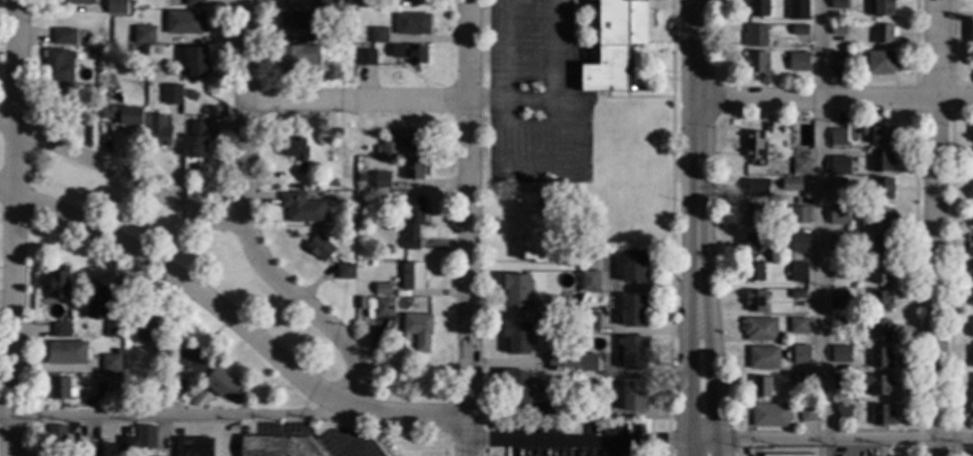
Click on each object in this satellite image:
building: (292, 0)
building: (333, 0)
building: (74, 2)
building: (194, 3)
building: (322, 4)
building: (364, 4)
building: (799, 4)
building: (333, 5)
building: (838, 5)
building: (116, 6)
building: (881, 8)
building: (757, 9)
building: (292, 21)
building: (185, 22)
building: (412, 24)
building: (799, 30)
building: (838, 30)
building: (884, 34)
building: (317, 35)
building: (144, 36)
building: (379, 36)
building: (755, 36)
building: (64, 37)
building: (971, 37)
building: (615, 45)
building: (119, 46)
building: (143, 50)
building: (410, 55)
building: (366, 57)
building: (296, 58)
building: (196, 61)
building: (798, 62)
building: (838, 62)
building: (756, 63)
building: (880, 64)
building: (58, 67)
building: (103, 78)
building: (172, 93)
building: (192, 96)
road: (834, 100)
road: (359, 101)
road: (489, 102)
building: (189, 106)
road: (248, 112)
building: (117, 114)
building: (787, 127)
building: (972, 133)
building: (878, 135)
building: (161, 136)
building: (837, 138)
building: (413, 139)
building: (196, 141)
building: (387, 145)
building: (755, 148)
building: (293, 149)
road: (697, 156)
building: (881, 162)
building: (971, 163)
road: (528, 166)
building: (800, 166)
building: (840, 166)
building: (412, 169)
road: (125, 178)
building: (361, 178)
building: (381, 180)
building: (326, 182)
building: (791, 185)
building: (838, 185)
building: (756, 188)
building: (883, 189)
building: (972, 193)
building: (796, 201)
building: (302, 208)
building: (800, 215)
building: (838, 215)
building: (754, 217)
road: (818, 218)
building: (877, 219)
building: (412, 222)
building: (972, 222)
building: (351, 223)
building: (534, 227)
road: (16, 228)
road: (471, 228)
road: (936, 228)
building: (838, 243)
building: (757, 244)
building: (799, 244)
building: (878, 246)
building: (319, 248)
building: (972, 249)
building: (389, 250)
building: (634, 265)
building: (839, 271)
building: (345, 272)
building: (754, 272)
building: (798, 272)
building: (971, 272)
building: (881, 274)
building: (412, 276)
building: (590, 281)
building: (58, 283)
building: (382, 289)
building: (517, 291)
building: (798, 294)
building: (972, 298)
building: (838, 299)
building: (754, 301)
building: (98, 302)
building: (372, 302)
building: (880, 302)
building: (384, 307)
building: (580, 308)
building: (565, 309)
building: (634, 310)
road: (315, 313)
road: (233, 320)
building: (589, 322)
building: (839, 323)
building: (799, 326)
building: (760, 329)
building: (113, 330)
building: (417, 330)
building: (880, 330)
building: (61, 331)
building: (972, 331)
building: (148, 333)
building: (517, 337)
building: (160, 340)
building: (801, 351)
building: (840, 351)
building: (634, 352)
building: (66, 353)
building: (972, 357)
building: (191, 358)
building: (561, 358)
building: (763, 358)
building: (880, 358)
building: (588, 363)
building: (111, 364)
road: (507, 366)
building: (158, 368)
road: (647, 375)
road: (688, 375)
road: (709, 375)
building: (800, 380)
building: (125, 382)
building: (841, 382)
building: (221, 384)
building: (972, 384)
building: (877, 385)
building: (516, 387)
building: (174, 388)
building: (761, 388)
building: (61, 389)
building: (100, 391)
building: (195, 395)
building: (634, 395)
building: (127, 401)
building: (556, 407)
building: (596, 410)
building: (843, 412)
building: (807, 413)
building: (771, 416)
building: (882, 416)
road: (168, 419)
building: (569, 426)
building: (56, 433)
building: (146, 437)
road: (830, 437)
road: (218, 438)
road: (579, 444)
building: (125, 446)
building: (277, 446)
building: (194, 447)
road: (687, 447)
road: (715, 447)
building: (94, 450)
power substation: (791, 451)
building: (793, 455)

